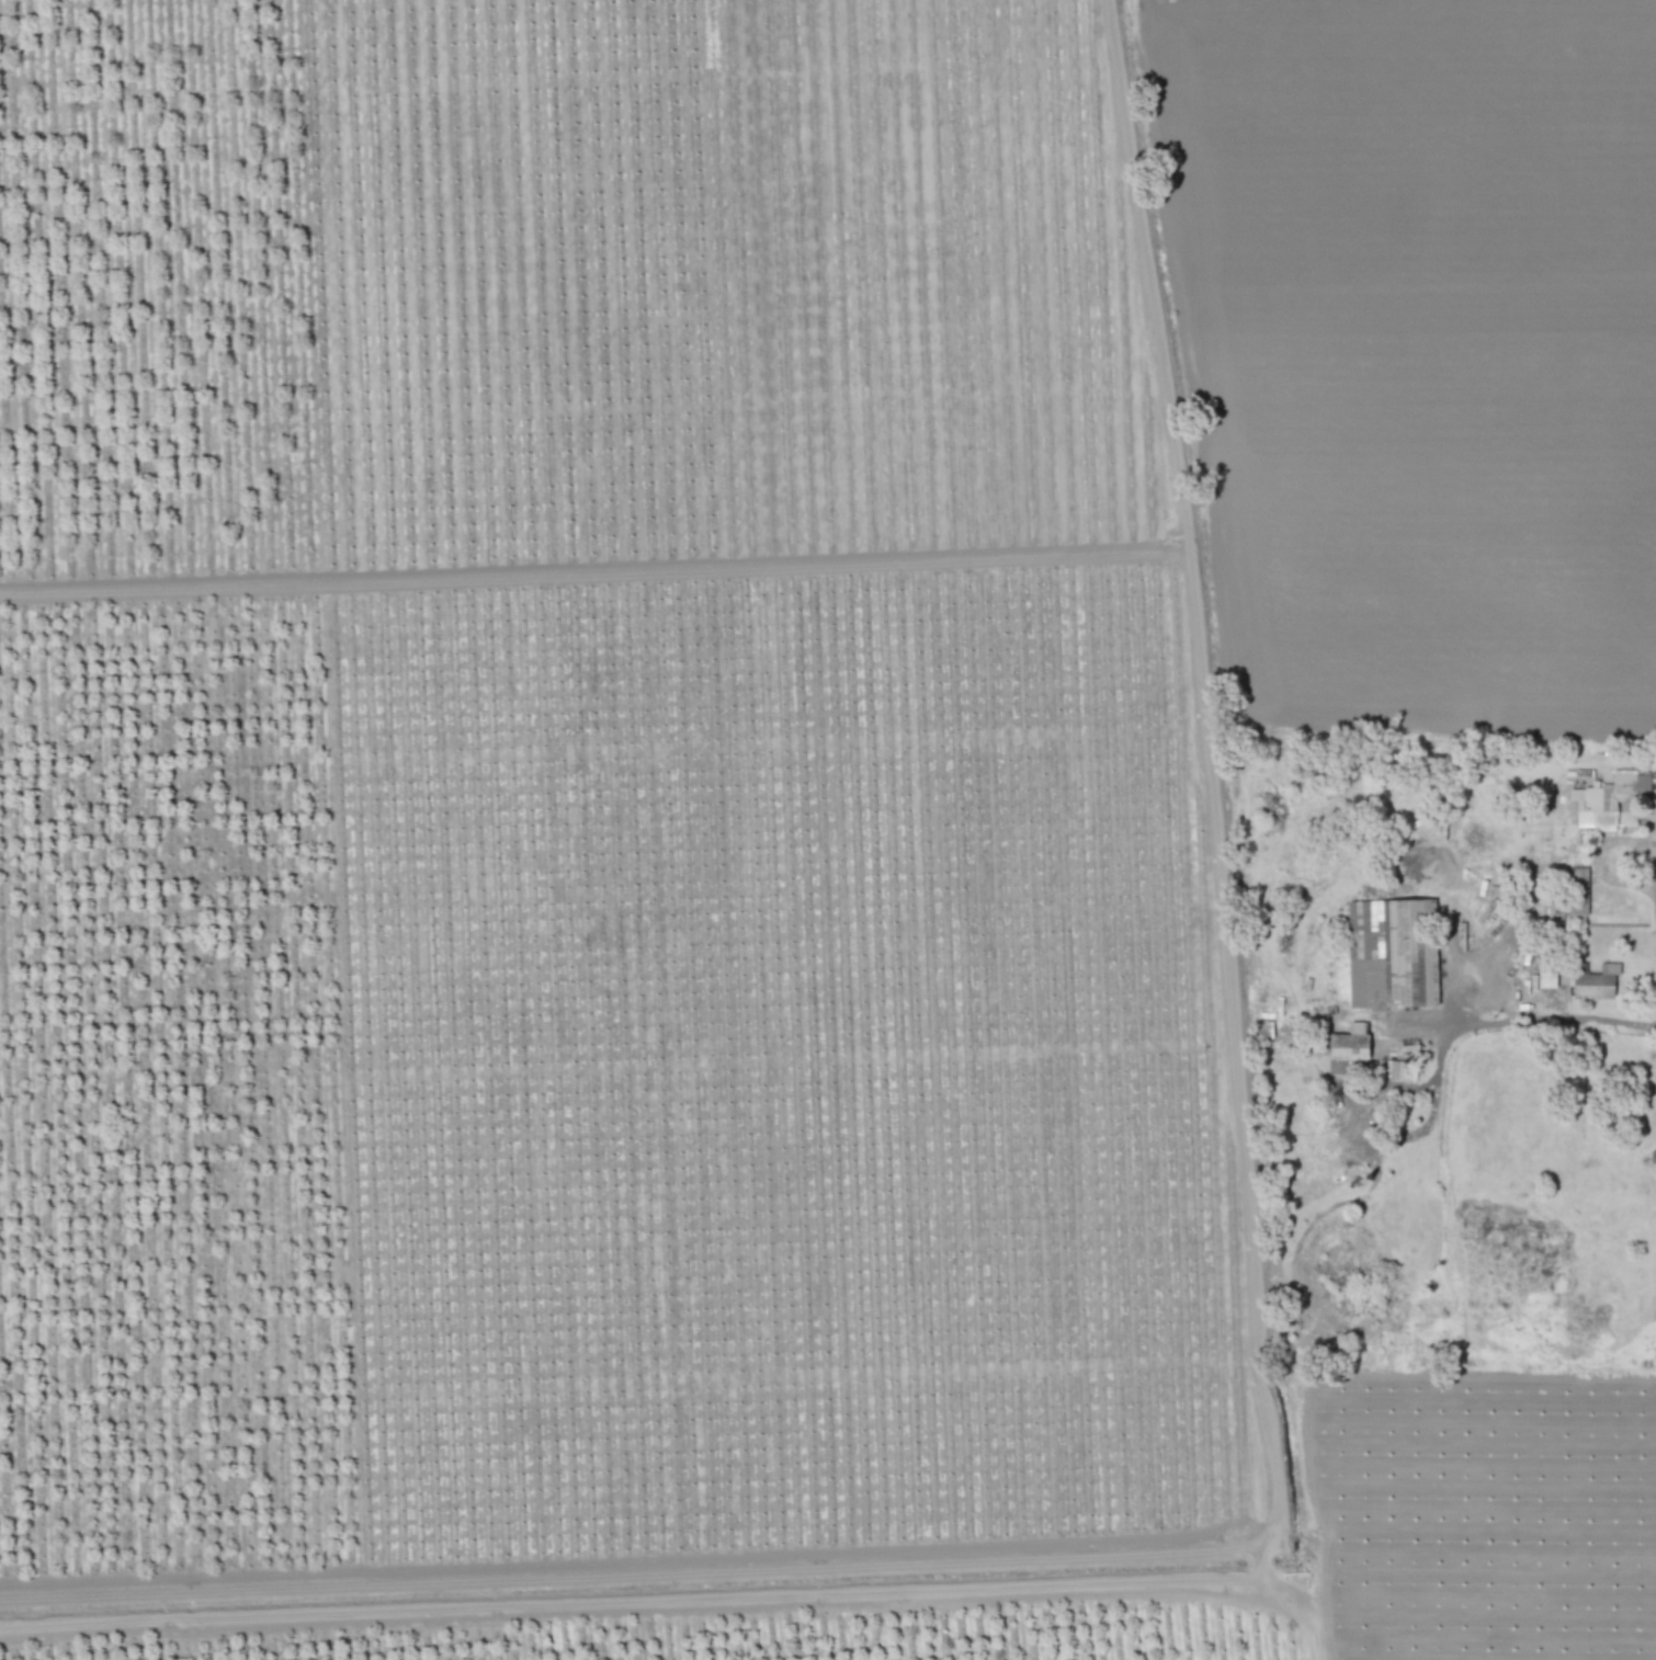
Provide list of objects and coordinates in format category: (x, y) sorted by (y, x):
crop: (1393, 349)
building: (1612, 800)
road: (1207, 828)
road: (1649, 879)
crop: (643, 890)
building: (1579, 890)
building: (1392, 954)
building: (1545, 974)
building: (1596, 982)
road: (1563, 1017)
building: (1264, 1025)
building: (1348, 1048)
building: (1390, 1069)

